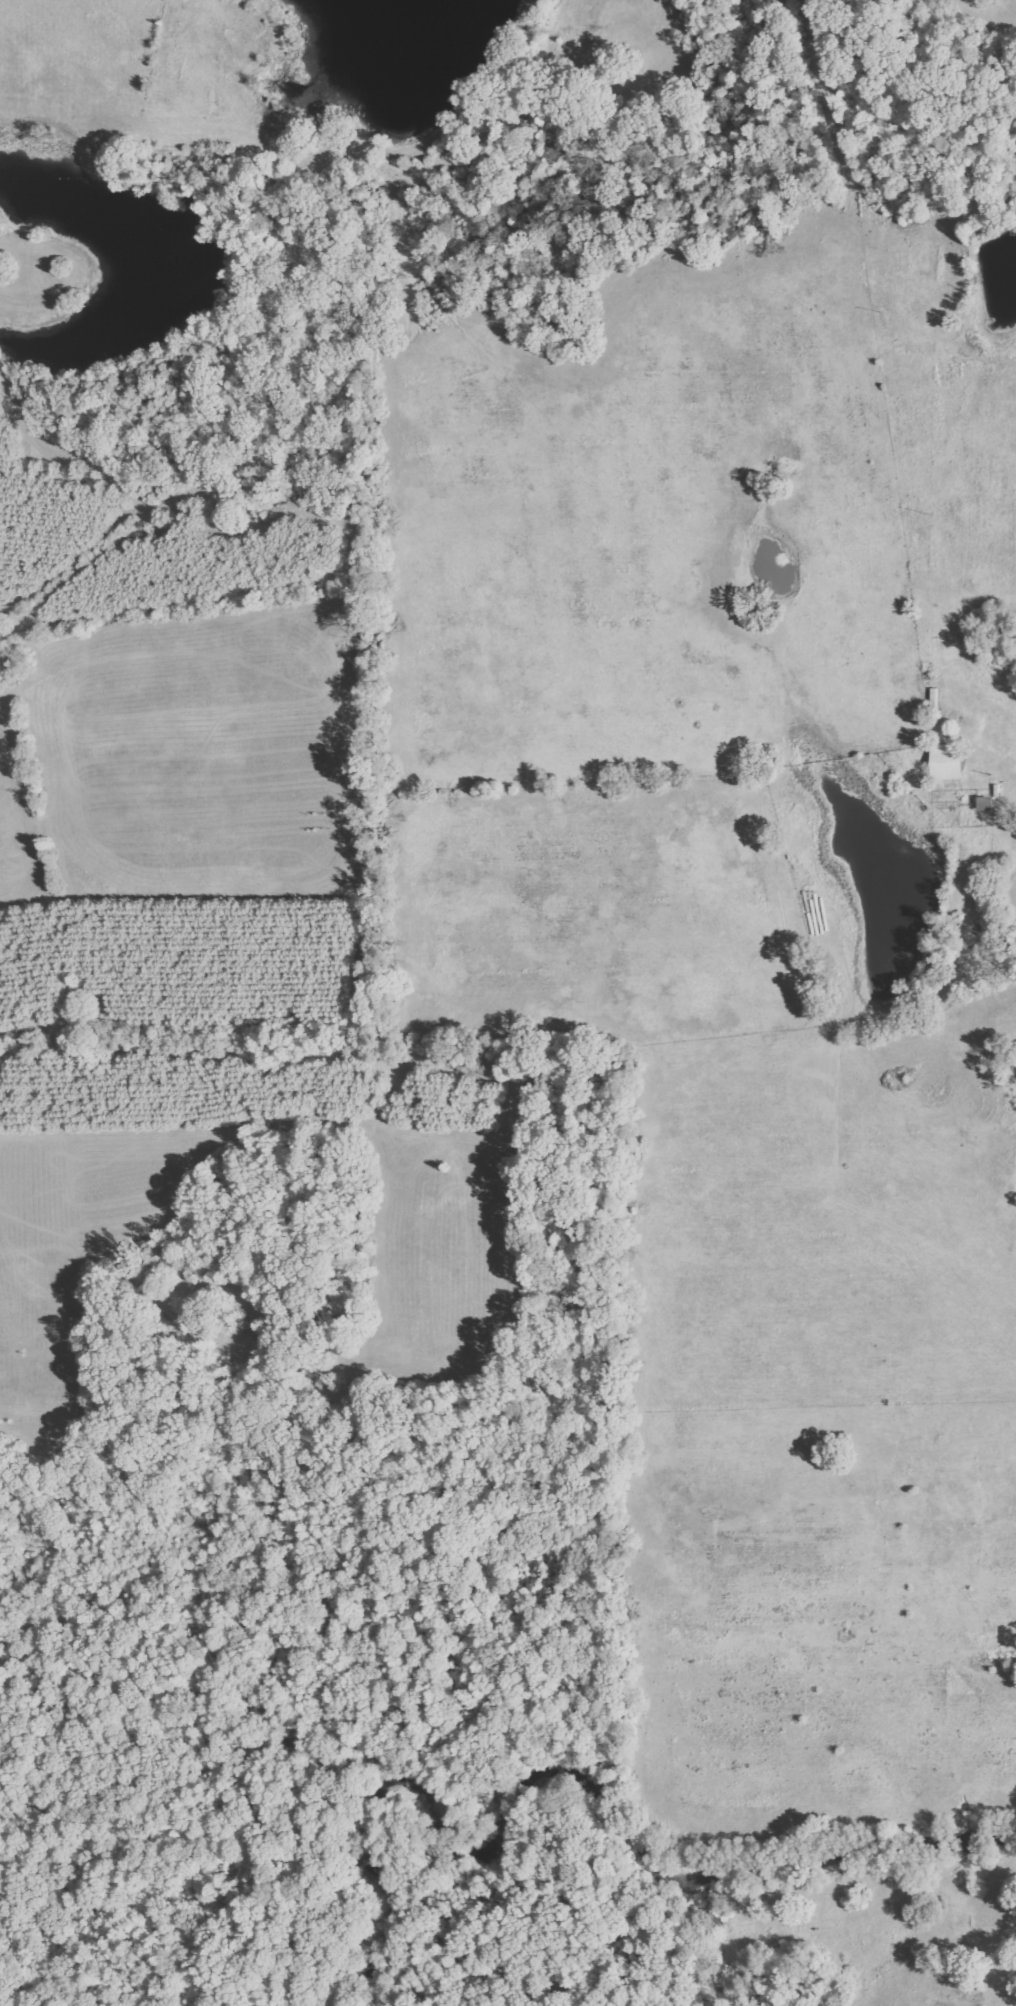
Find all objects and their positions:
building: (944, 762)

